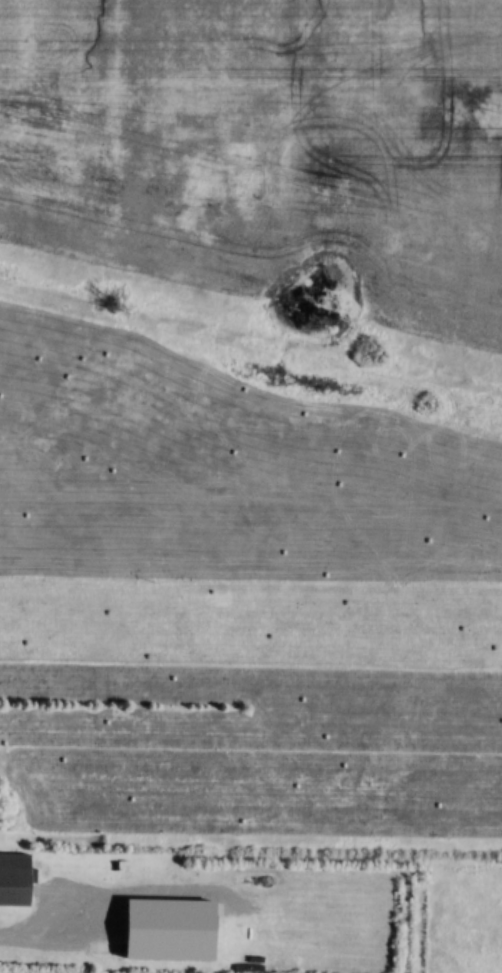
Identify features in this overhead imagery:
crop: (267, 143)
building: (19, 880)

